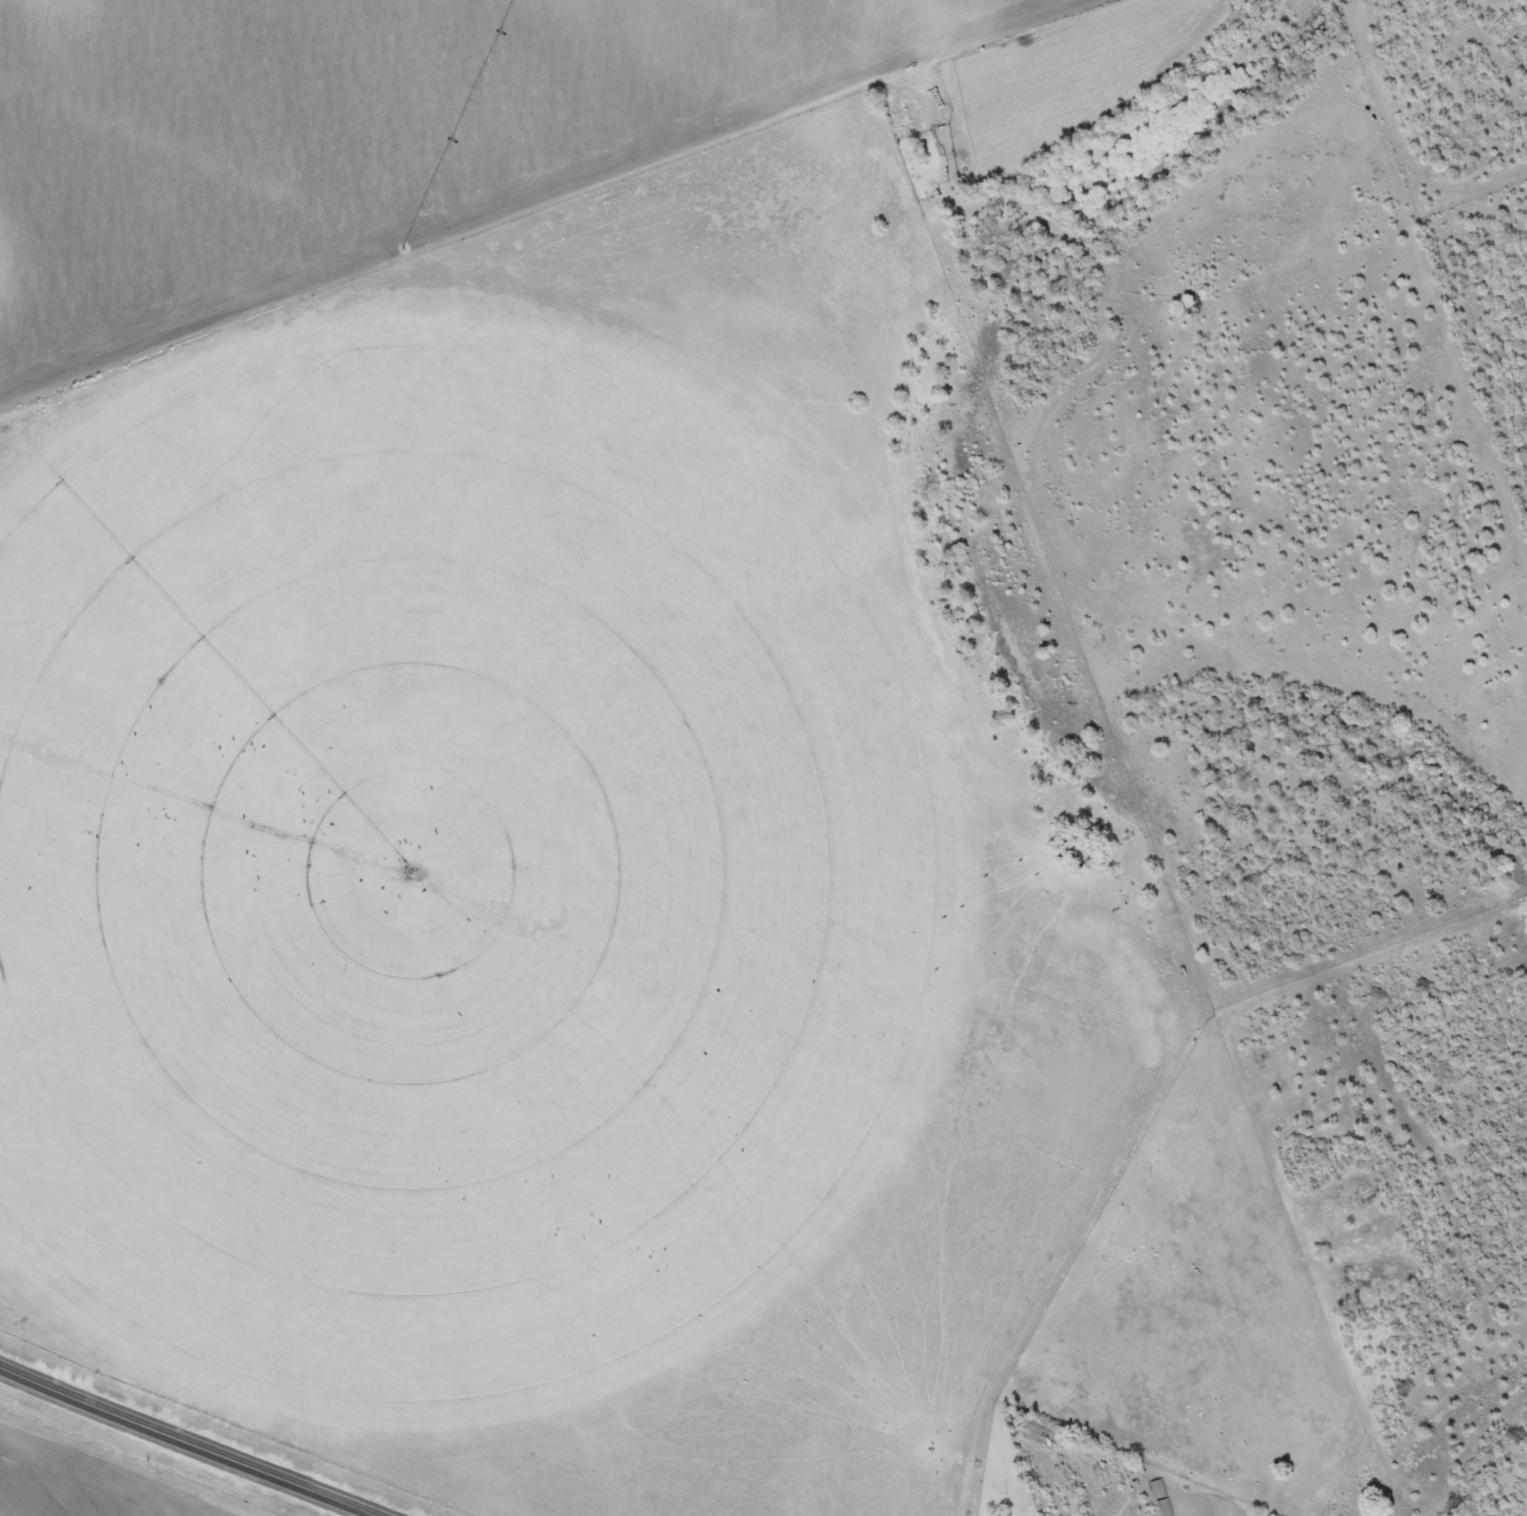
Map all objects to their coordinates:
building: (1039, 1433)
road: (187, 1443)
railway: (138, 1463)

